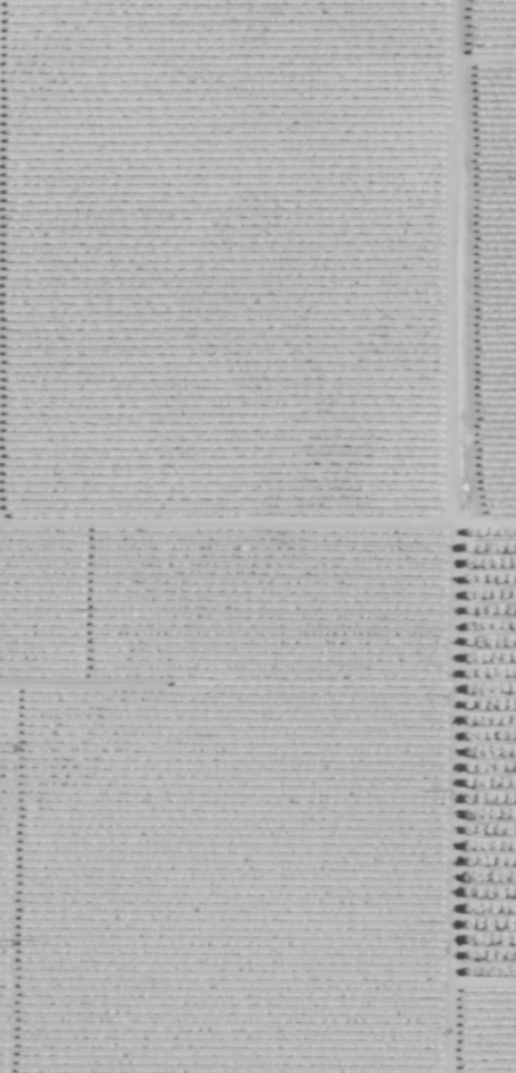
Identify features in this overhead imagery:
road: (453, 536)

